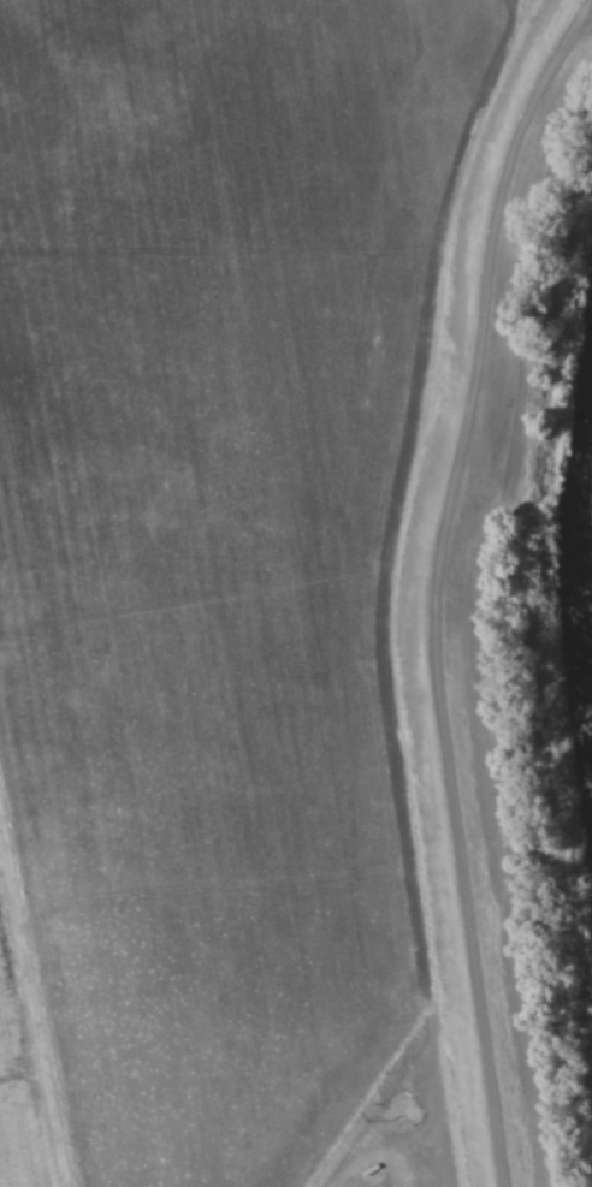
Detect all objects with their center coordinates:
road: (431, 582)

